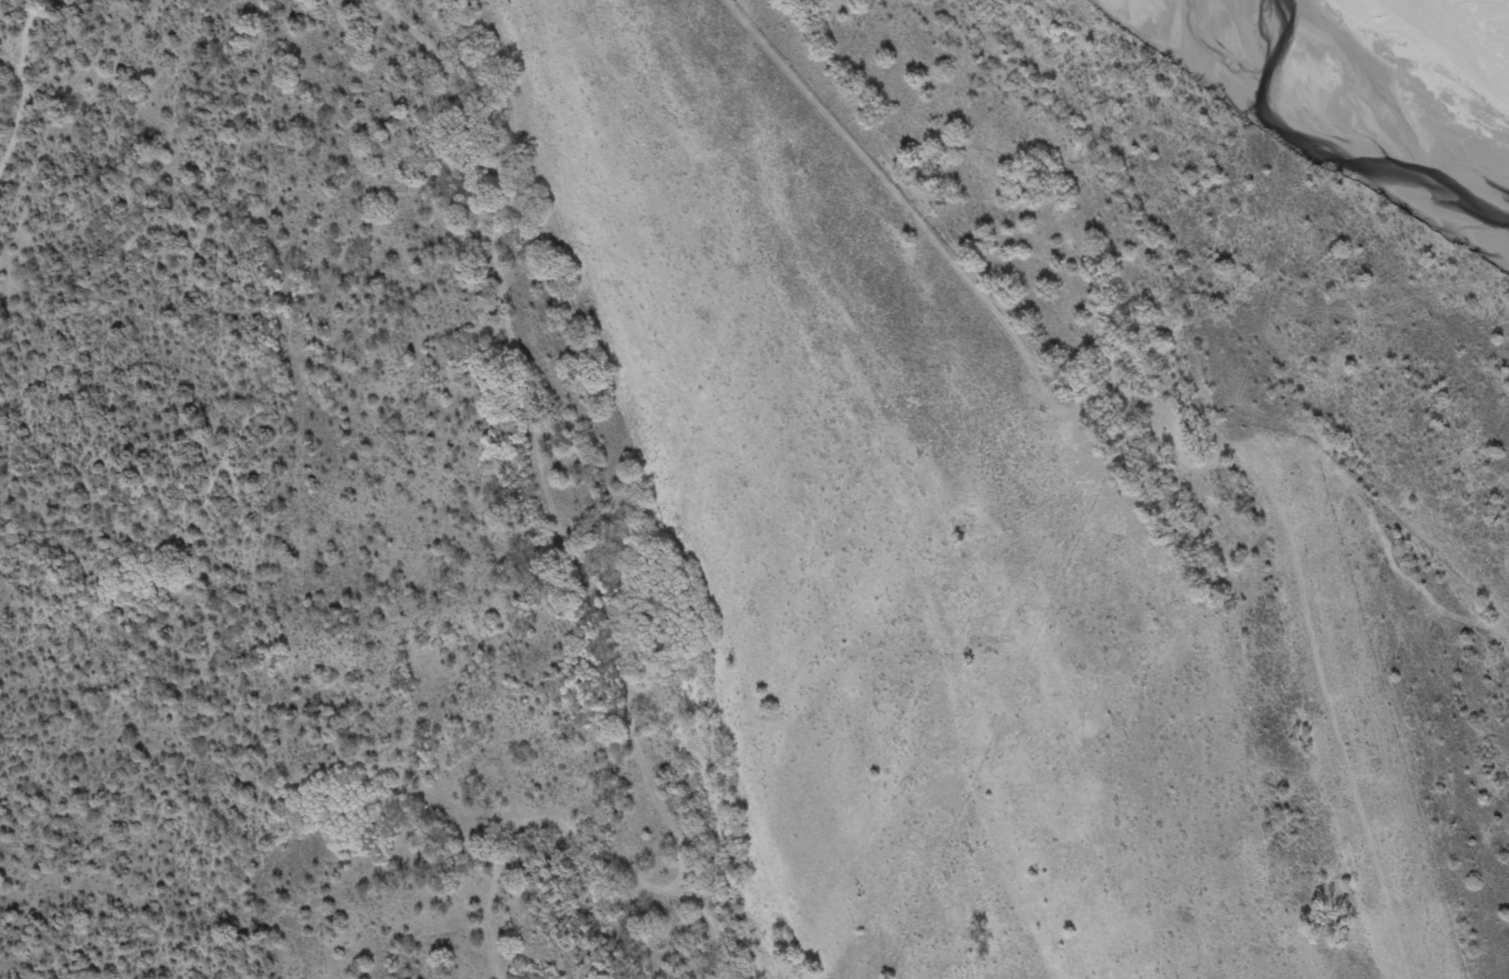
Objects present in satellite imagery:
river: (1505, 2)
road: (25, 108)

